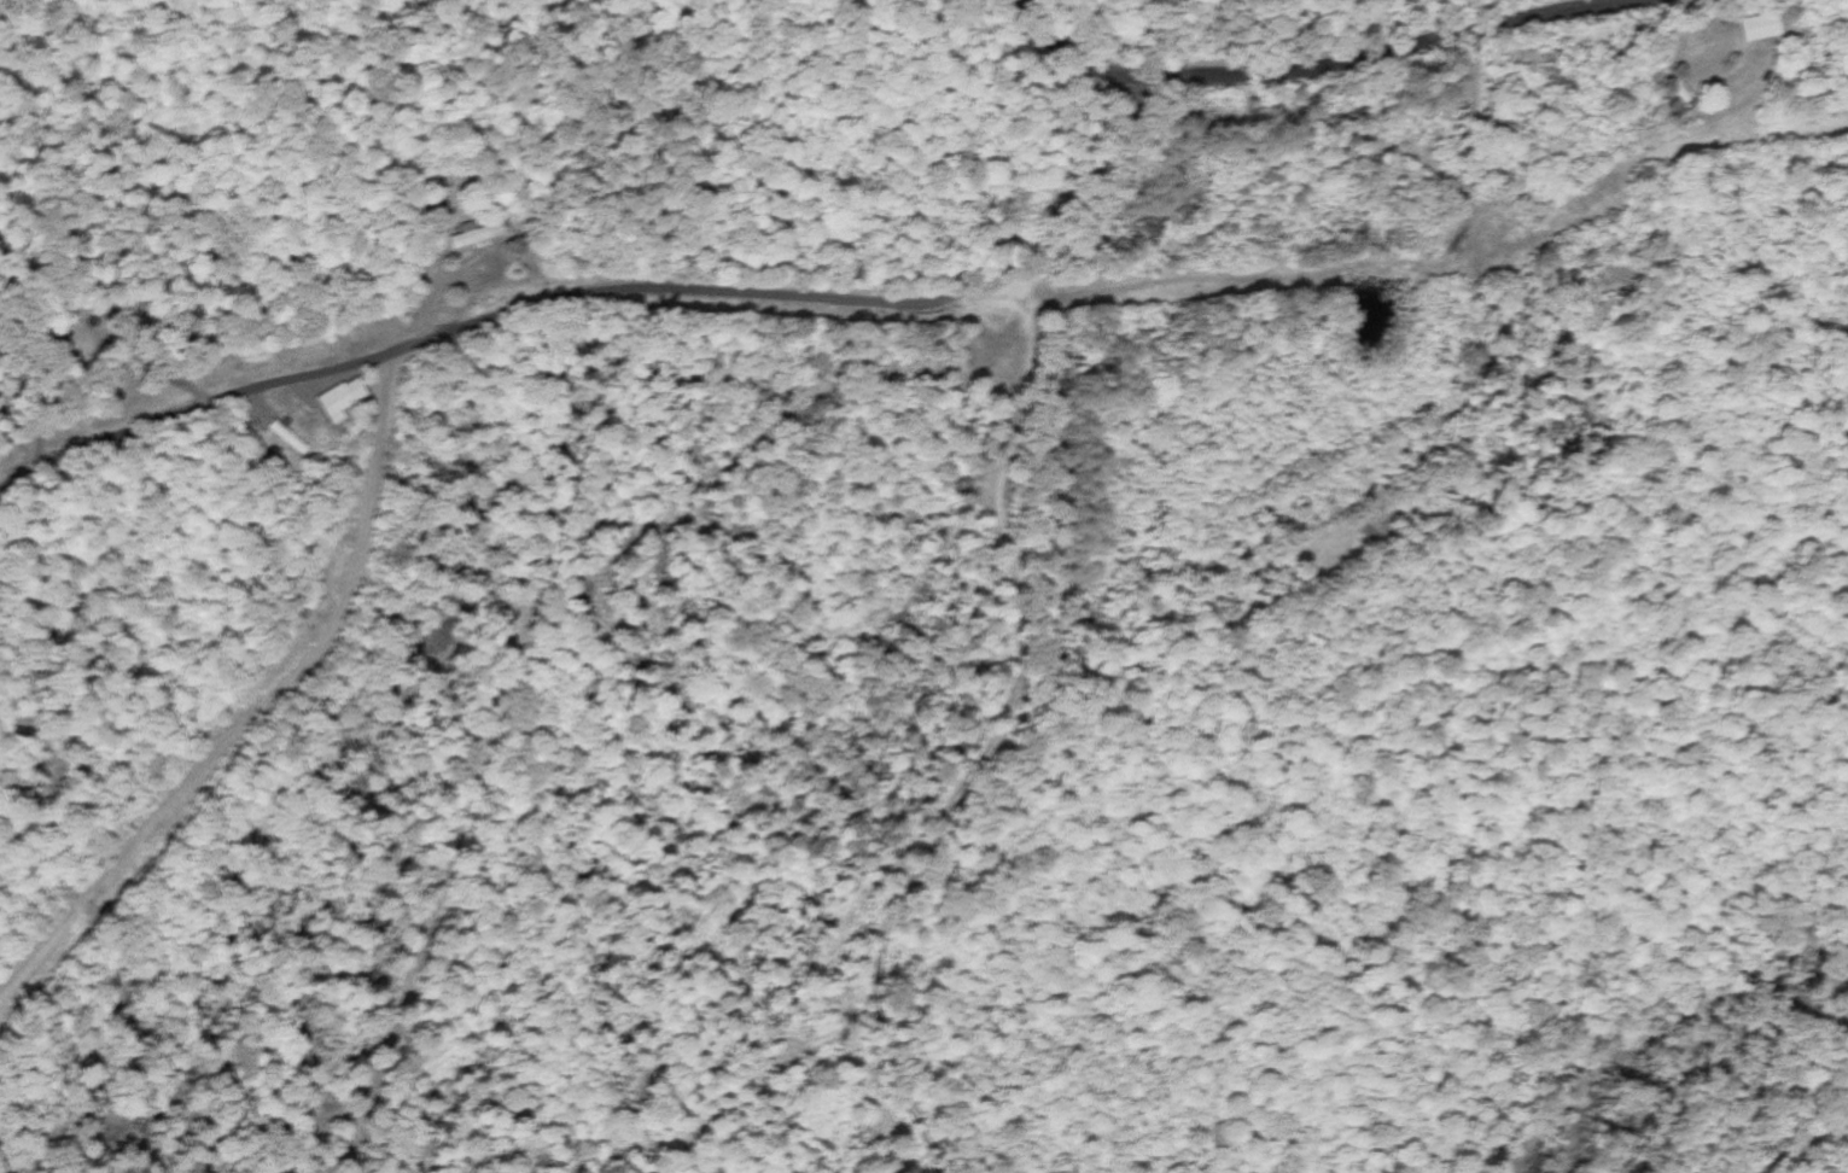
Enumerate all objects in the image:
building: (1757, 27)
road: (1078, 60)
building: (473, 234)
road: (868, 305)
building: (342, 398)
building: (287, 437)
road: (263, 711)

